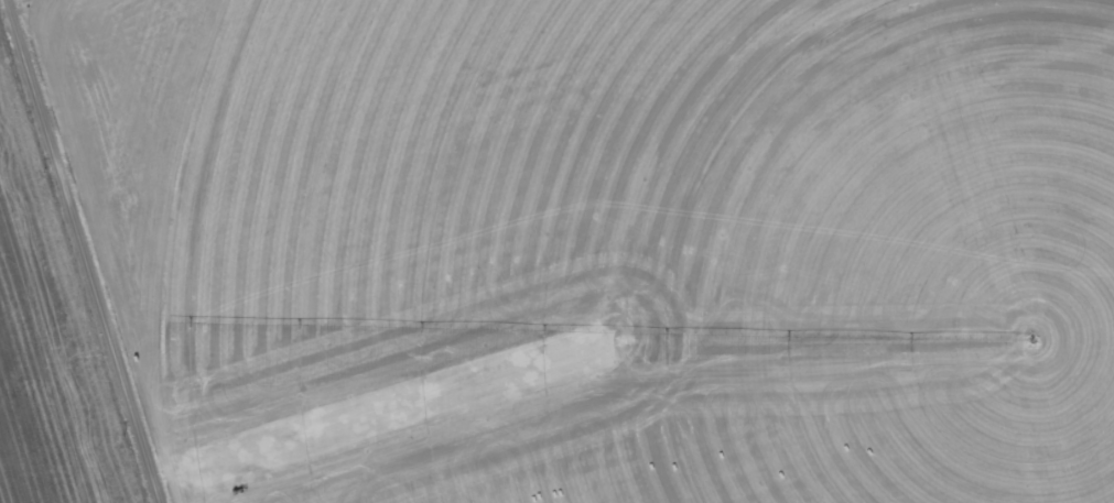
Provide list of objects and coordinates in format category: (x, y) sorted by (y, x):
road: (87, 251)

